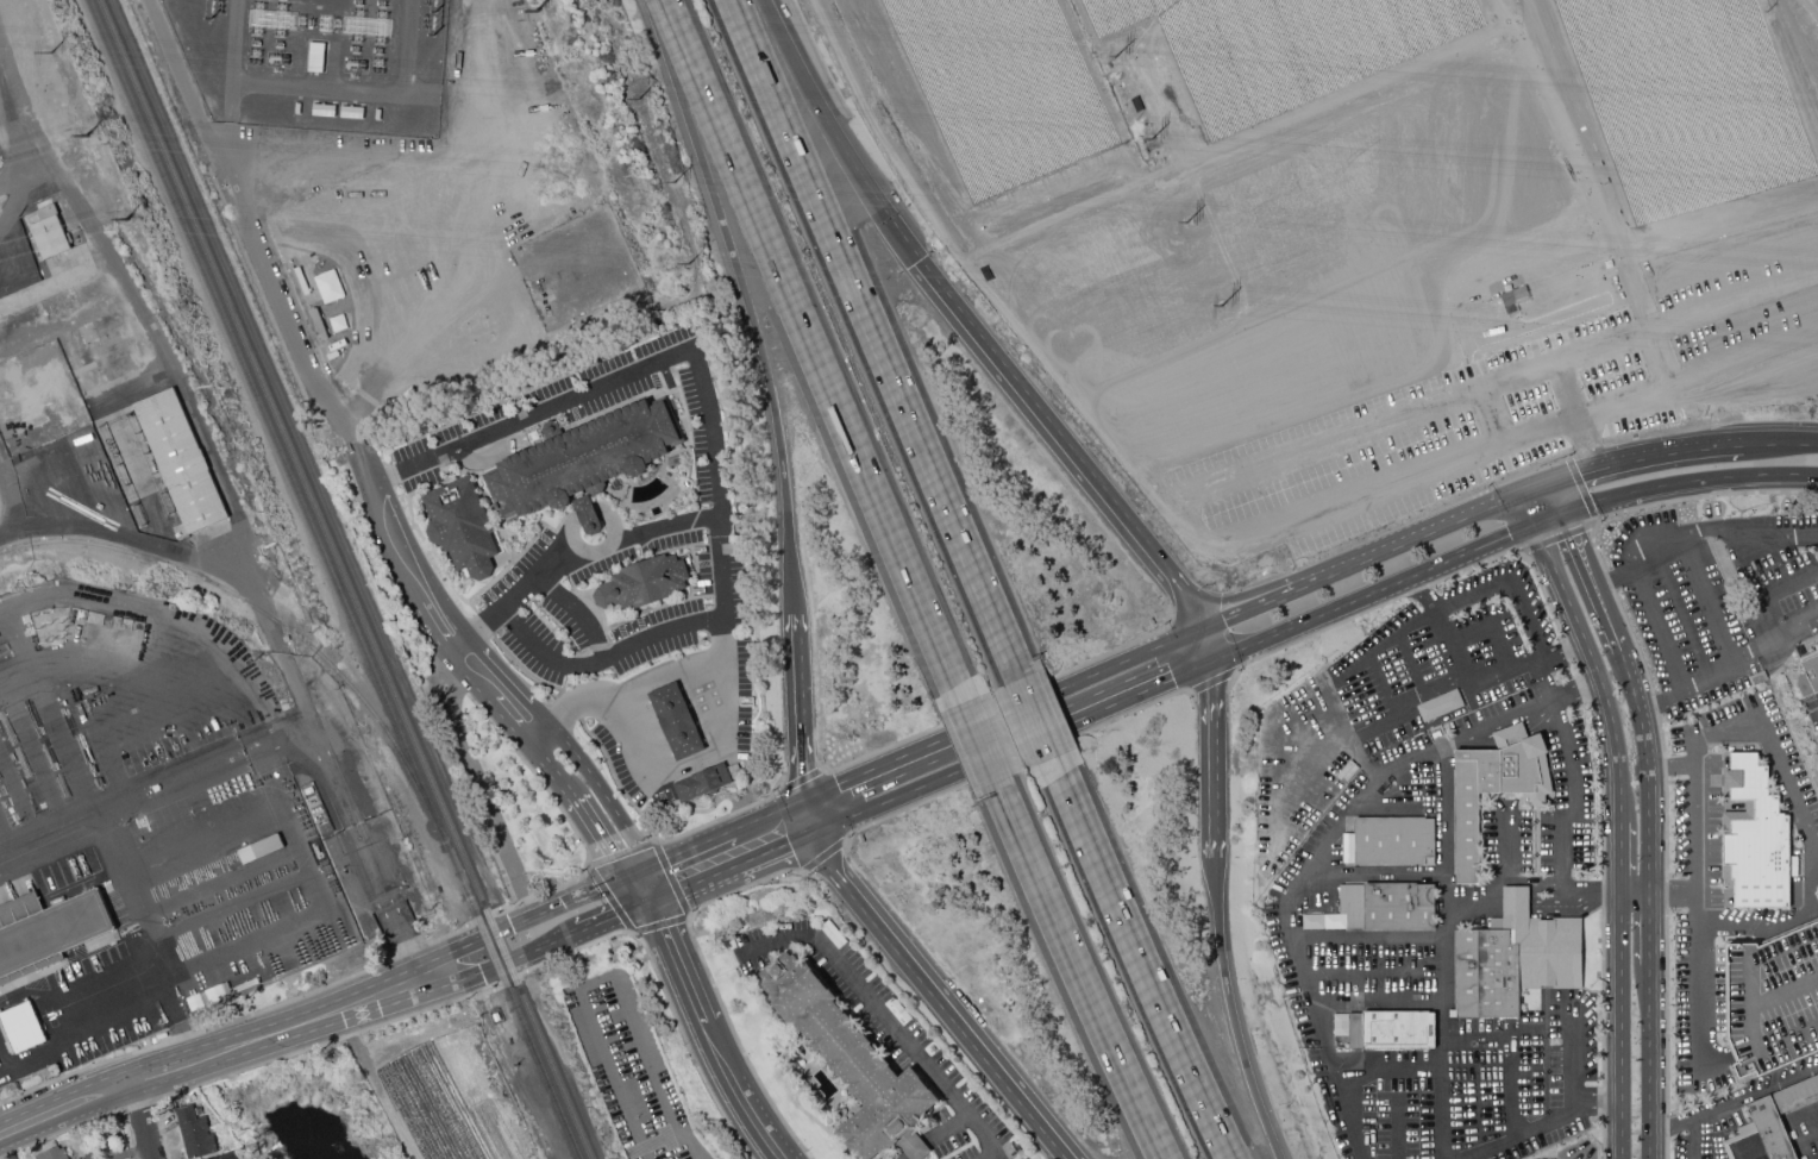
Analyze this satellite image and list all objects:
crop: (1124, 15)
power tower: (608, 20)
road: (677, 27)
crop: (1292, 50)
road: (788, 51)
power tower: (59, 55)
building: (315, 57)
power tower: (1120, 58)
power substation: (315, 62)
crop: (998, 89)
crop: (1682, 104)
power tower: (641, 105)
building: (322, 109)
building: (351, 112)
power tower: (87, 139)
power tower: (1158, 144)
road: (560, 158)
road: (870, 181)
power tower: (677, 186)
road: (420, 215)
power tower: (128, 223)
road: (243, 224)
power tower: (1191, 227)
building: (50, 234)
road: (284, 240)
power tower: (692, 269)
road: (402, 275)
building: (1510, 297)
road: (1734, 302)
road: (1640, 309)
power tower: (1223, 311)
road: (1542, 319)
road: (754, 332)
road: (877, 336)
road: (1559, 363)
road: (819, 376)
road: (344, 384)
road: (1742, 400)
road: (1042, 411)
road: (1578, 416)
road: (711, 438)
road: (356, 444)
road: (1776, 445)
road: (1667, 456)
building: (582, 457)
building: (182, 462)
road: (1573, 476)
road: (1688, 484)
traffic signals: (1550, 485)
road: (1536, 490)
road: (1581, 490)
traffic signals: (1523, 496)
road: (1705, 497)
road: (1556, 500)
road: (1530, 510)
traffic signals: (1563, 515)
road: (1550, 520)
road: (571, 522)
building: (460, 525)
traffic signals: (1537, 525)
road: (662, 526)
road: (1698, 533)
railway: (315, 537)
road: (1557, 539)
road: (1410, 543)
road: (534, 577)
railway: (345, 578)
building: (644, 581)
road: (1592, 582)
road: (1374, 590)
road: (1187, 593)
road: (1423, 594)
road: (1472, 595)
road: (1756, 595)
road: (430, 603)
road: (1253, 604)
railway: (264, 612)
road: (575, 612)
road: (1529, 618)
road: (478, 627)
building: (1817, 637)
road: (1211, 640)
road: (1780, 643)
road: (1452, 652)
road: (1528, 665)
road: (1408, 666)
building: (1811, 668)
road: (1597, 669)
road: (658, 671)
road: (1083, 677)
building: (1756, 677)
road: (1707, 678)
road: (1233, 679)
road: (726, 682)
road: (1384, 684)
road: (1573, 688)
road: (1179, 690)
road: (1137, 693)
road: (1193, 698)
road: (1661, 700)
road: (52, 704)
building: (1438, 704)
road: (798, 708)
road: (587, 709)
road: (1817, 710)
road: (1588, 714)
road: (557, 719)
building: (676, 720)
road: (1493, 722)
road: (1372, 725)
road: (1731, 726)
road: (1041, 727)
gas station: (676, 728)
road: (1037, 737)
road: (627, 745)
road: (984, 753)
road: (1216, 758)
road: (690, 762)
road: (1294, 763)
road: (879, 766)
road: (1672, 766)
road: (1569, 770)
road: (1648, 771)
building: (702, 783)
building: (1493, 787)
road: (915, 790)
road: (602, 794)
road: (121, 801)
traffic signals: (804, 801)
park: (521, 807)
road: (769, 816)
road: (810, 817)
road: (282, 822)
road: (352, 825)
road: (1442, 828)
building: (1388, 841)
building: (1754, 841)
road: (581, 844)
road: (820, 847)
building: (261, 848)
road: (691, 850)
road: (777, 851)
road: (828, 852)
road: (1623, 858)
road: (1373, 875)
road: (672, 881)
road: (658, 884)
road: (702, 884)
road: (1807, 888)
road: (603, 894)
road: (1592, 894)
road: (1635, 894)
building: (1817, 894)
parking garage: (1817, 894)
road: (1674, 895)
traffic signals: (666, 900)
road: (1481, 906)
building: (1378, 908)
road: (670, 910)
road: (534, 913)
road: (1290, 922)
road: (1751, 926)
road: (1648, 929)
building: (48, 932)
road: (572, 935)
road: (1371, 939)
road: (653, 941)
road: (162, 952)
road: (408, 952)
building: (1512, 959)
road: (1377, 969)
road: (1153, 971)
road: (453, 973)
road: (608, 976)
road: (709, 978)
building: (245, 985)
road: (1090, 985)
road: (1701, 989)
road: (664, 992)
building: (215, 994)
building: (1773, 1001)
parking garage: (1773, 1001)
building: (194, 1002)
road: (130, 1008)
road: (948, 1010)
road: (1239, 1010)
road: (883, 1016)
road: (307, 1021)
building: (1339, 1025)
road: (1622, 1026)
building: (21, 1028)
building: (1391, 1030)
road: (194, 1033)
road: (726, 1044)
road: (1512, 1054)
road: (1575, 1058)
road: (1648, 1061)
building: (851, 1064)
road: (1446, 1064)
road: (1391, 1066)
parking lot: (628, 1067)
road: (161, 1071)
road: (375, 1084)
road: (67, 1100)
crop: (445, 1102)
road: (1732, 1102)
road: (1599, 1104)
road: (801, 1108)
railway: (560, 1116)
road: (143, 1119)
building: (1769, 1122)
road: (1797, 1126)
road: (947, 1129)
building: (194, 1130)
road: (1808, 1132)
road: (1519, 1133)
road: (1694, 1139)
road: (656, 1141)
road: (840, 1144)
road: (914, 1149)
building: (52, 1152)
building: (225, 1155)
building: (79, 1158)

